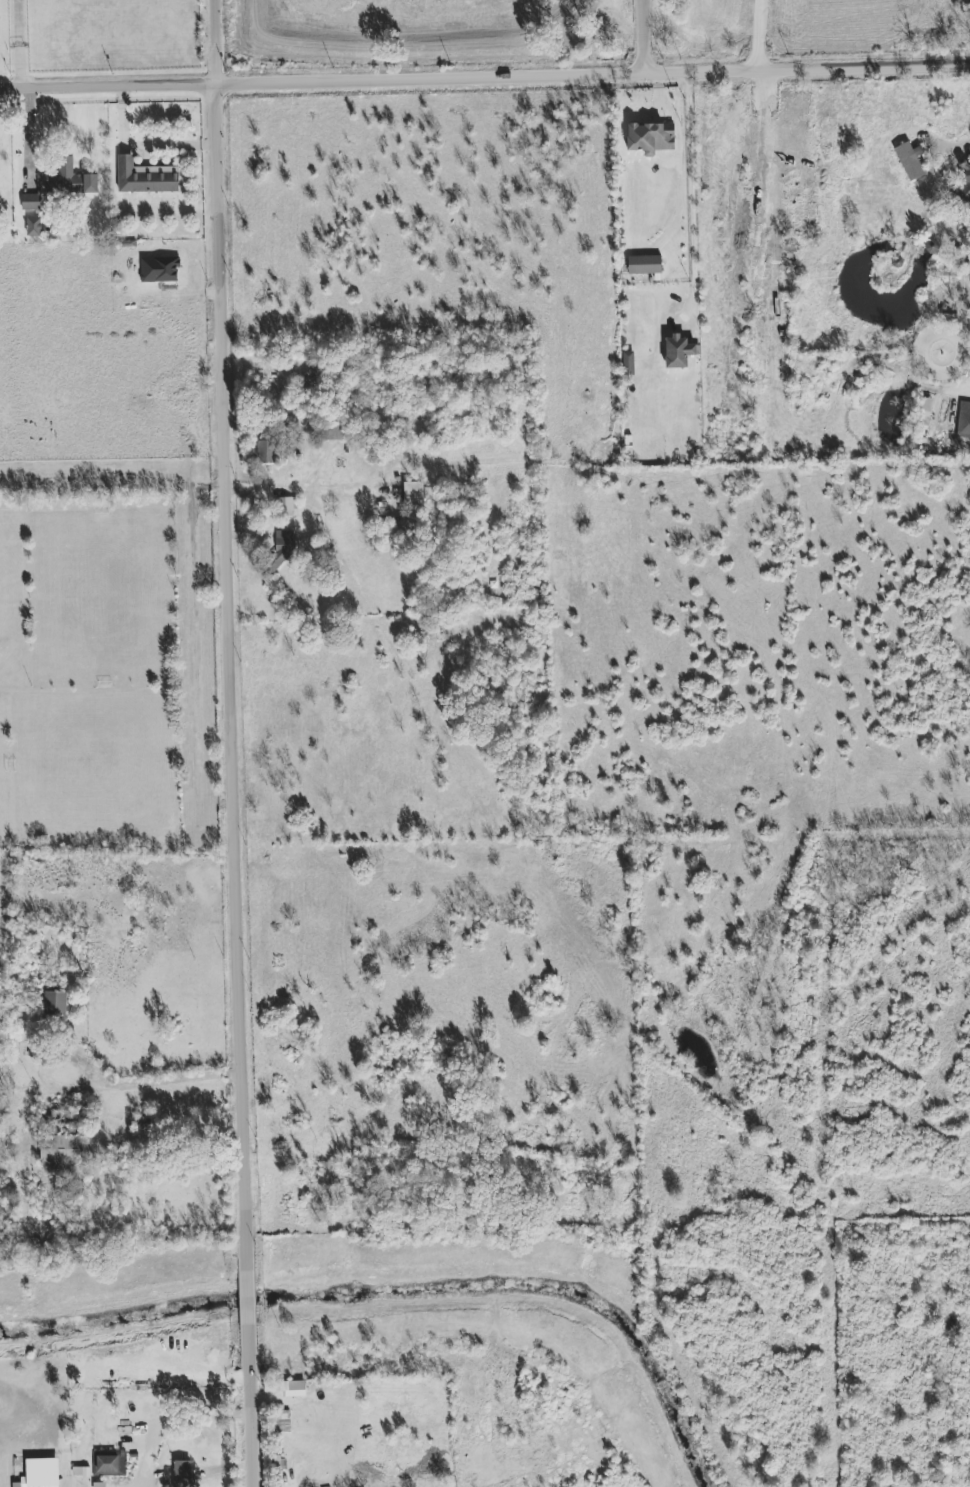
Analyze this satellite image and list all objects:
road: (650, 35)
road: (19, 43)
road: (485, 74)
building: (651, 137)
road: (147, 145)
building: (910, 160)
building: (146, 177)
building: (70, 180)
building: (966, 188)
road: (690, 192)
building: (31, 202)
building: (34, 226)
building: (645, 265)
building: (679, 352)
building: (628, 360)
building: (924, 411)
building: (964, 421)
road: (230, 432)
building: (339, 432)
building: (265, 452)
road: (320, 489)
building: (414, 495)
building: (393, 535)
building: (281, 548)
building: (55, 1003)
road: (172, 1081)
building: (62, 1149)
road: (250, 1176)
building: (292, 1388)
road: (175, 1421)
building: (109, 1463)
building: (182, 1474)
building: (40, 1481)

